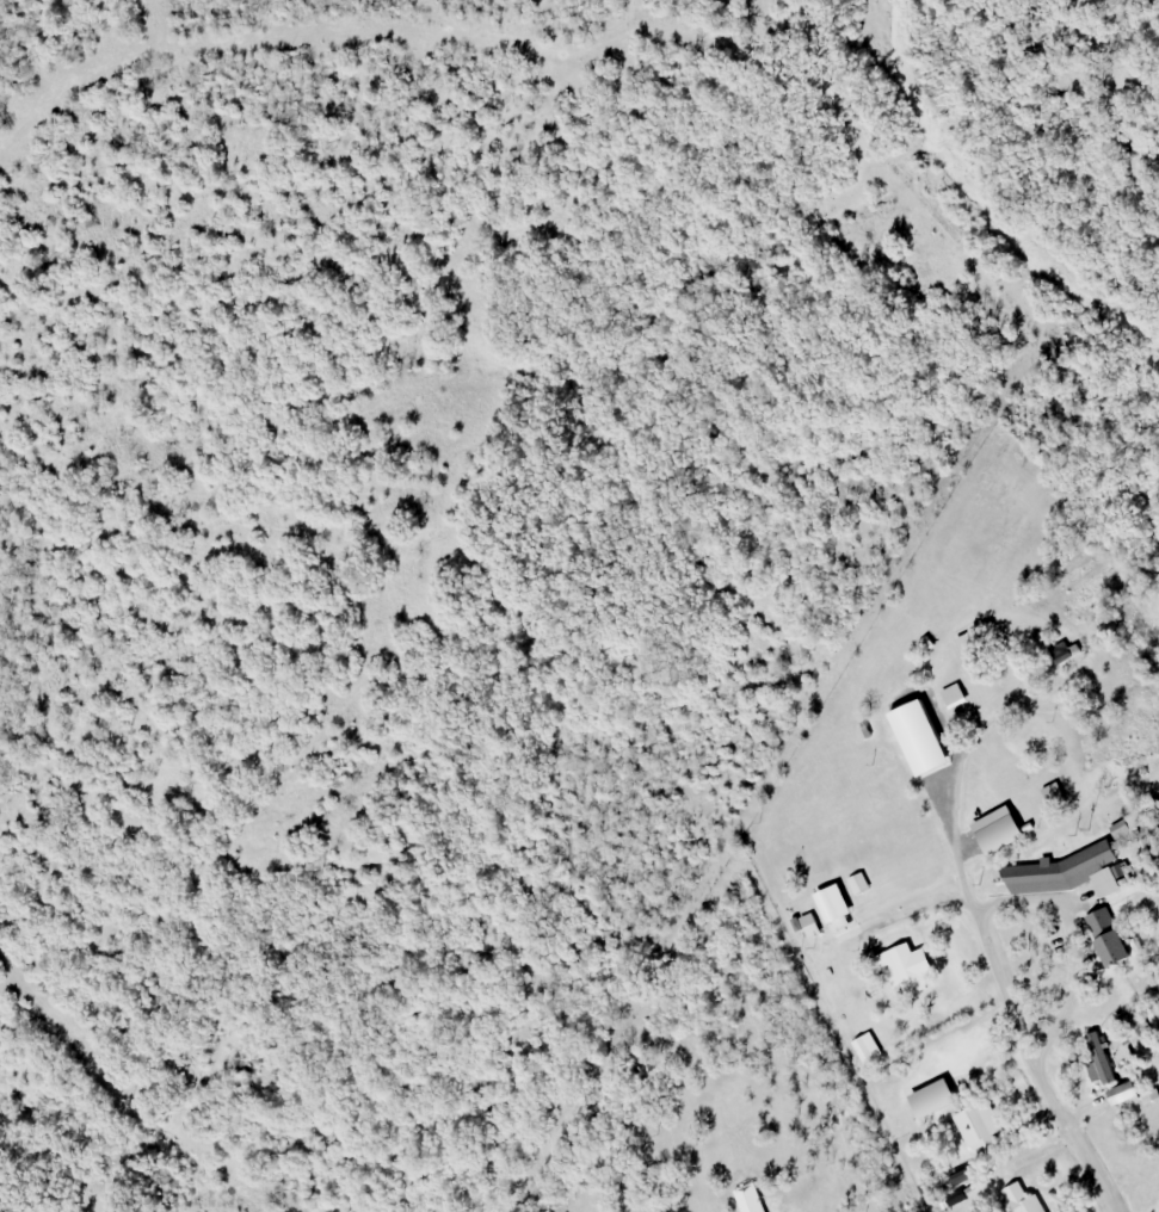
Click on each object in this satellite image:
building: (975, 656)
building: (954, 695)
building: (932, 728)
building: (1053, 793)
building: (1129, 824)
building: (1013, 828)
building: (1089, 860)
building: (1108, 938)
building: (906, 969)
road: (1021, 1013)
building: (1098, 1057)
building: (1126, 1093)
building: (943, 1096)
building: (978, 1126)
building: (1021, 1199)

